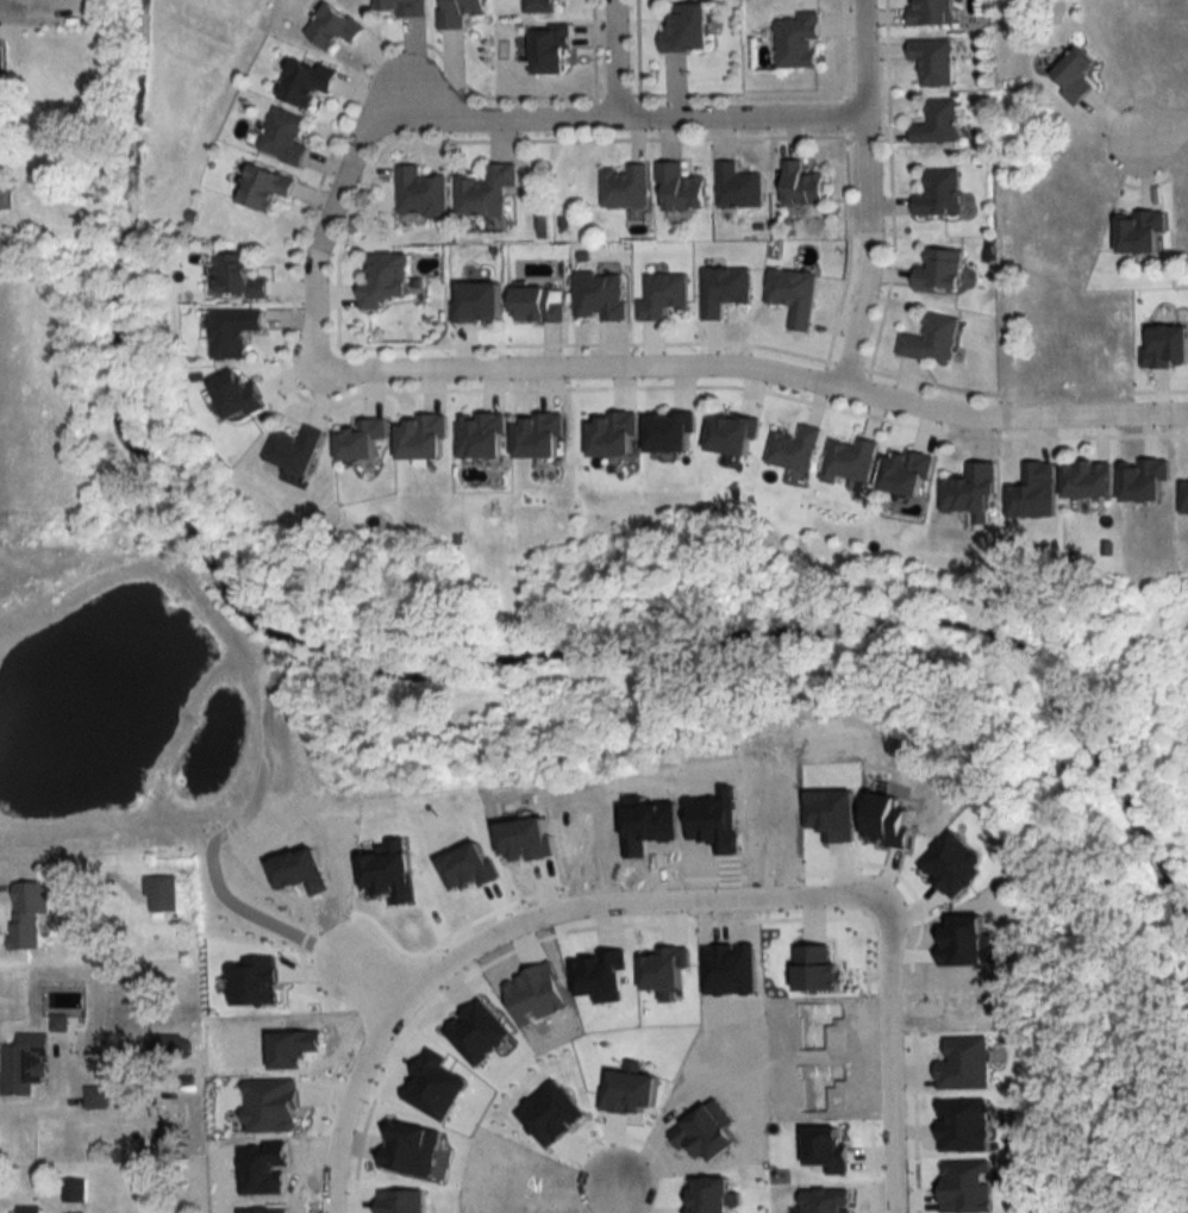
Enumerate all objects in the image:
building: (540, 6)
building: (402, 7)
building: (459, 12)
building: (931, 13)
building: (333, 27)
building: (687, 29)
building: (798, 40)
building: (552, 50)
road: (617, 58)
building: (932, 62)
building: (1075, 75)
building: (308, 82)
road: (617, 118)
building: (937, 124)
road: (1162, 130)
building: (286, 137)
building: (801, 186)
building: (624, 187)
building: (738, 187)
building: (267, 188)
building: (681, 188)
road: (871, 190)
building: (486, 192)
building: (420, 194)
building: (938, 194)
road: (321, 245)
building: (939, 271)
building: (242, 279)
building: (386, 281)
building: (723, 290)
building: (662, 296)
building: (792, 296)
building: (477, 304)
building: (537, 306)
building: (236, 332)
building: (930, 340)
road: (758, 362)
building: (238, 395)
building: (668, 432)
building: (538, 434)
building: (613, 434)
building: (732, 434)
building: (480, 436)
building: (421, 438)
building: (363, 439)
building: (296, 449)
building: (794, 449)
building: (849, 461)
building: (905, 473)
building: (1087, 480)
building: (970, 490)
building: (160, 895)
building: (27, 914)
road: (518, 924)
road: (370, 977)
building: (173, 1048)
road: (892, 1056)
building: (24, 1064)
building: (96, 1098)
building: (74, 1190)
road: (619, 1196)
building: (29, 1209)

